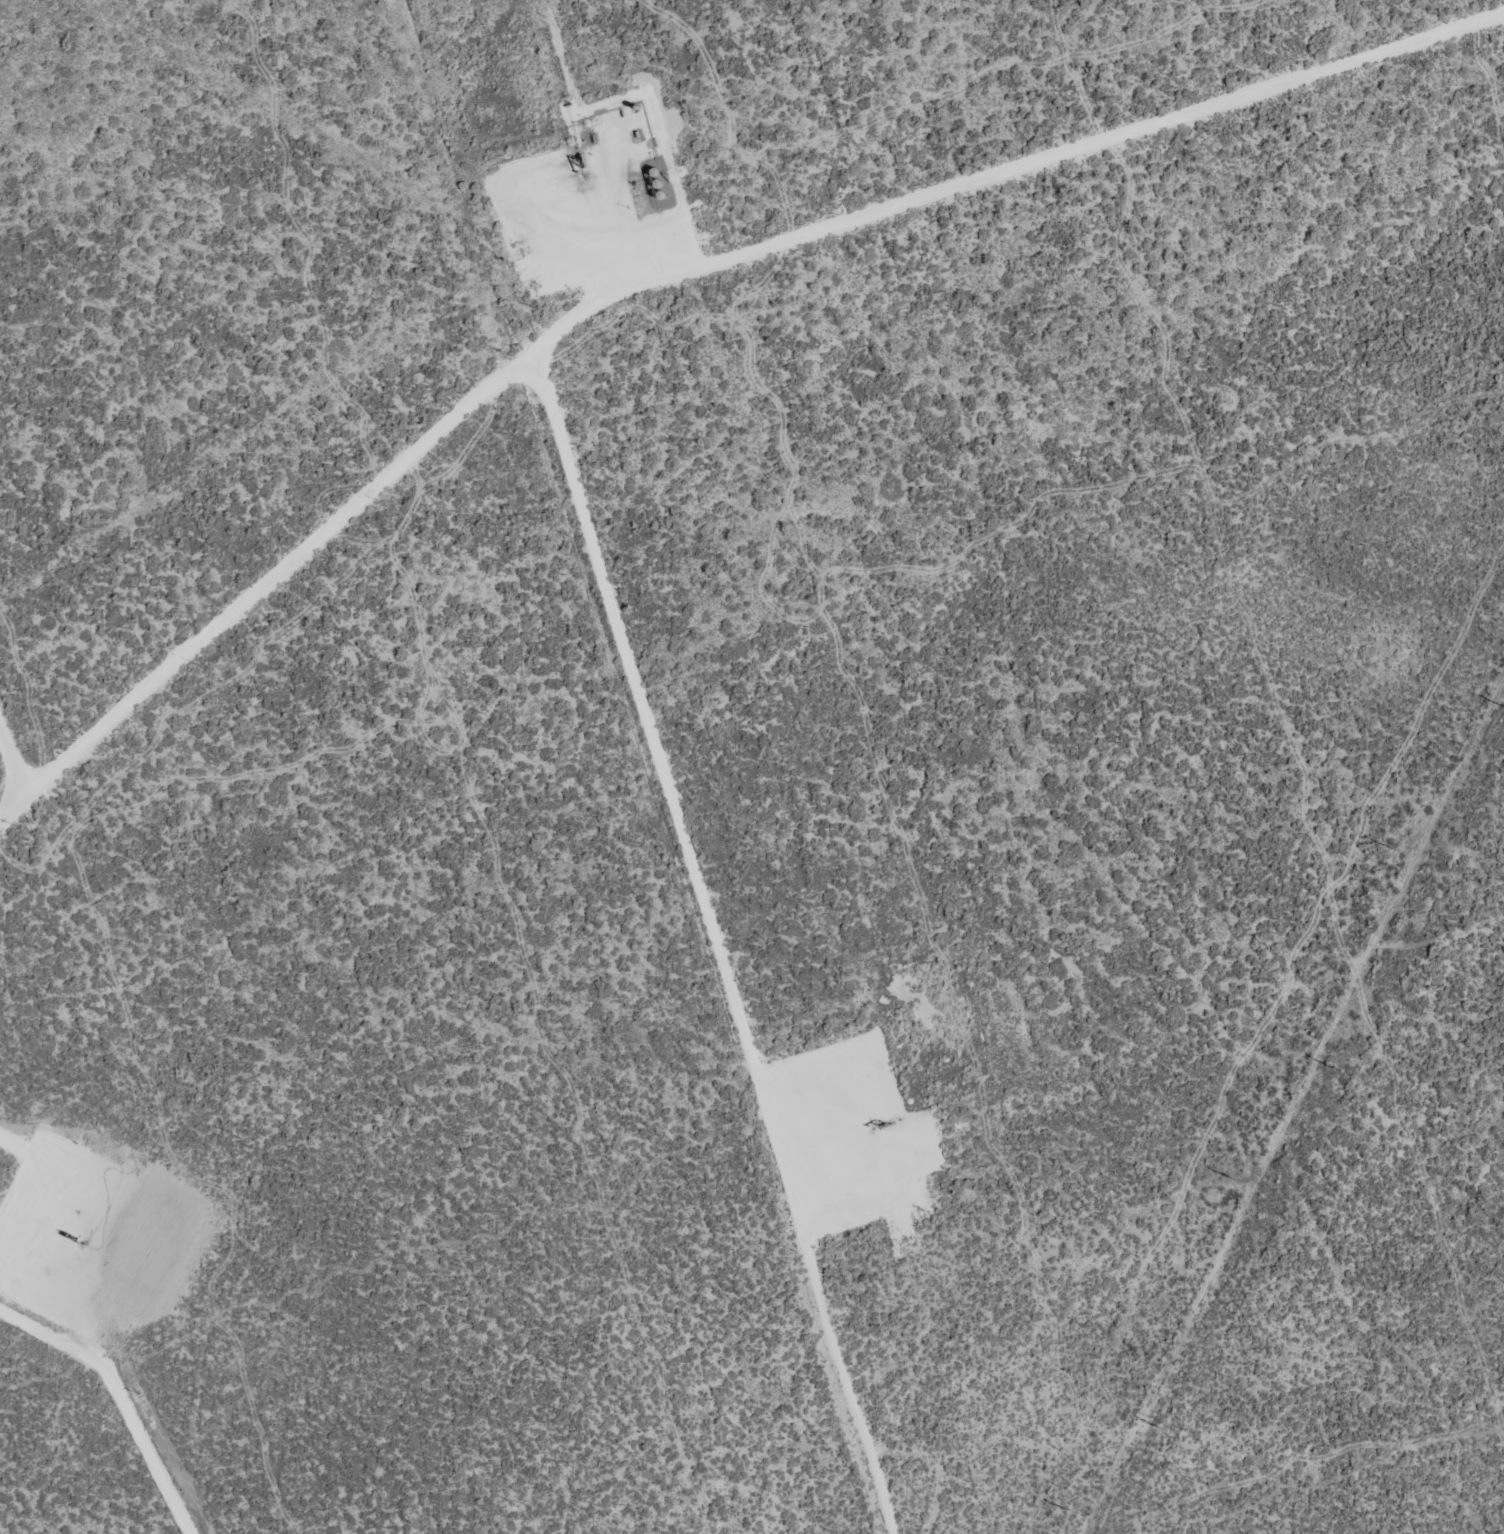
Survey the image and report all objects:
road: (555, 470)
road: (267, 632)
road: (23, 727)
road: (1089, 800)
power tower: (1392, 850)
power tower: (1338, 1069)
power tower: (1234, 1179)
power tower: (1164, 1428)
power tower: (1073, 1512)

